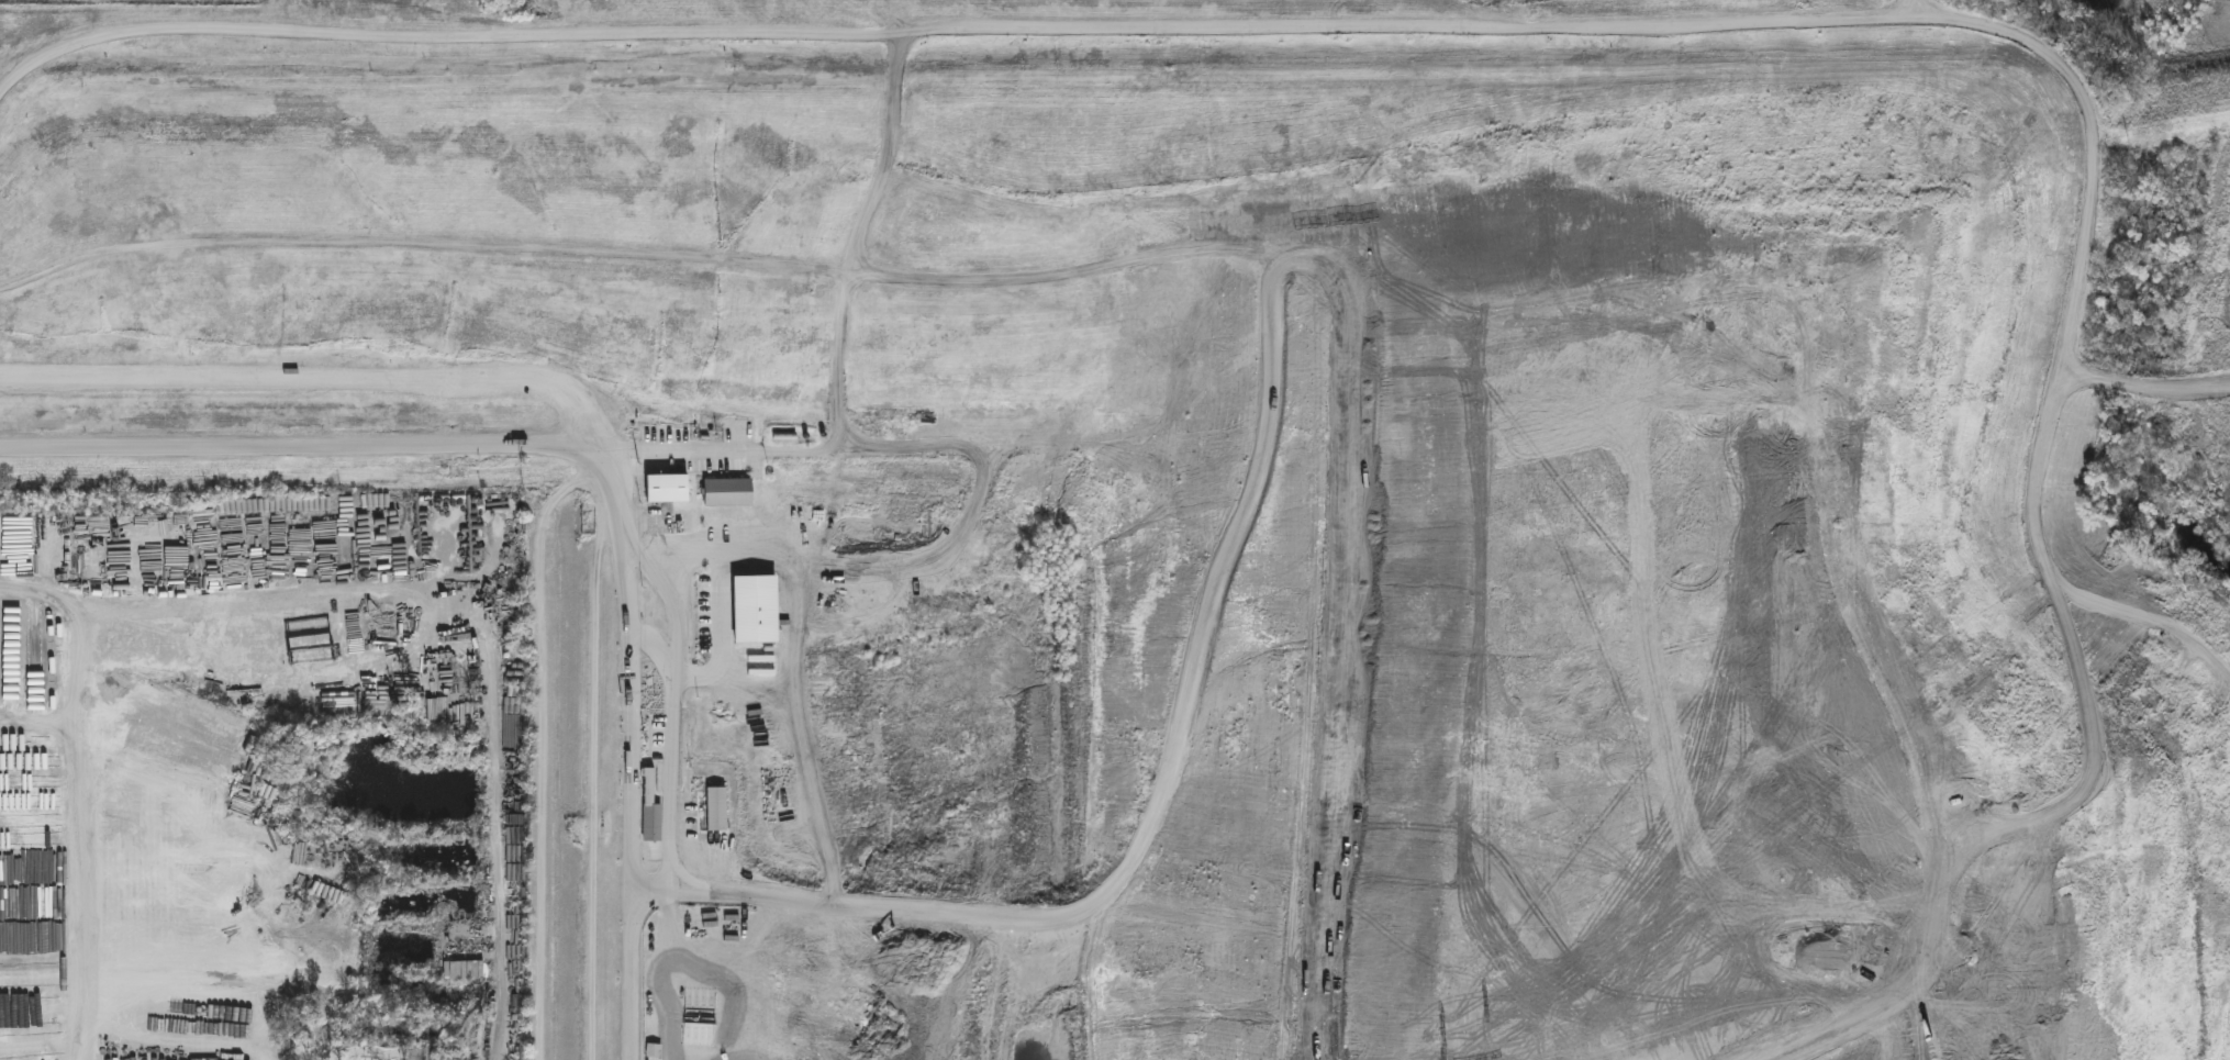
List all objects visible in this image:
road: (1610, 25)
road: (315, 376)
road: (372, 445)
building: (664, 490)
building: (725, 494)
landfill: (1208, 509)
road: (668, 598)
road: (76, 599)
building: (754, 611)
road: (437, 645)
road: (628, 676)
road: (673, 767)
building: (650, 810)
building: (260, 826)
road: (69, 829)
road: (631, 994)
building: (699, 1033)
building: (655, 1052)

